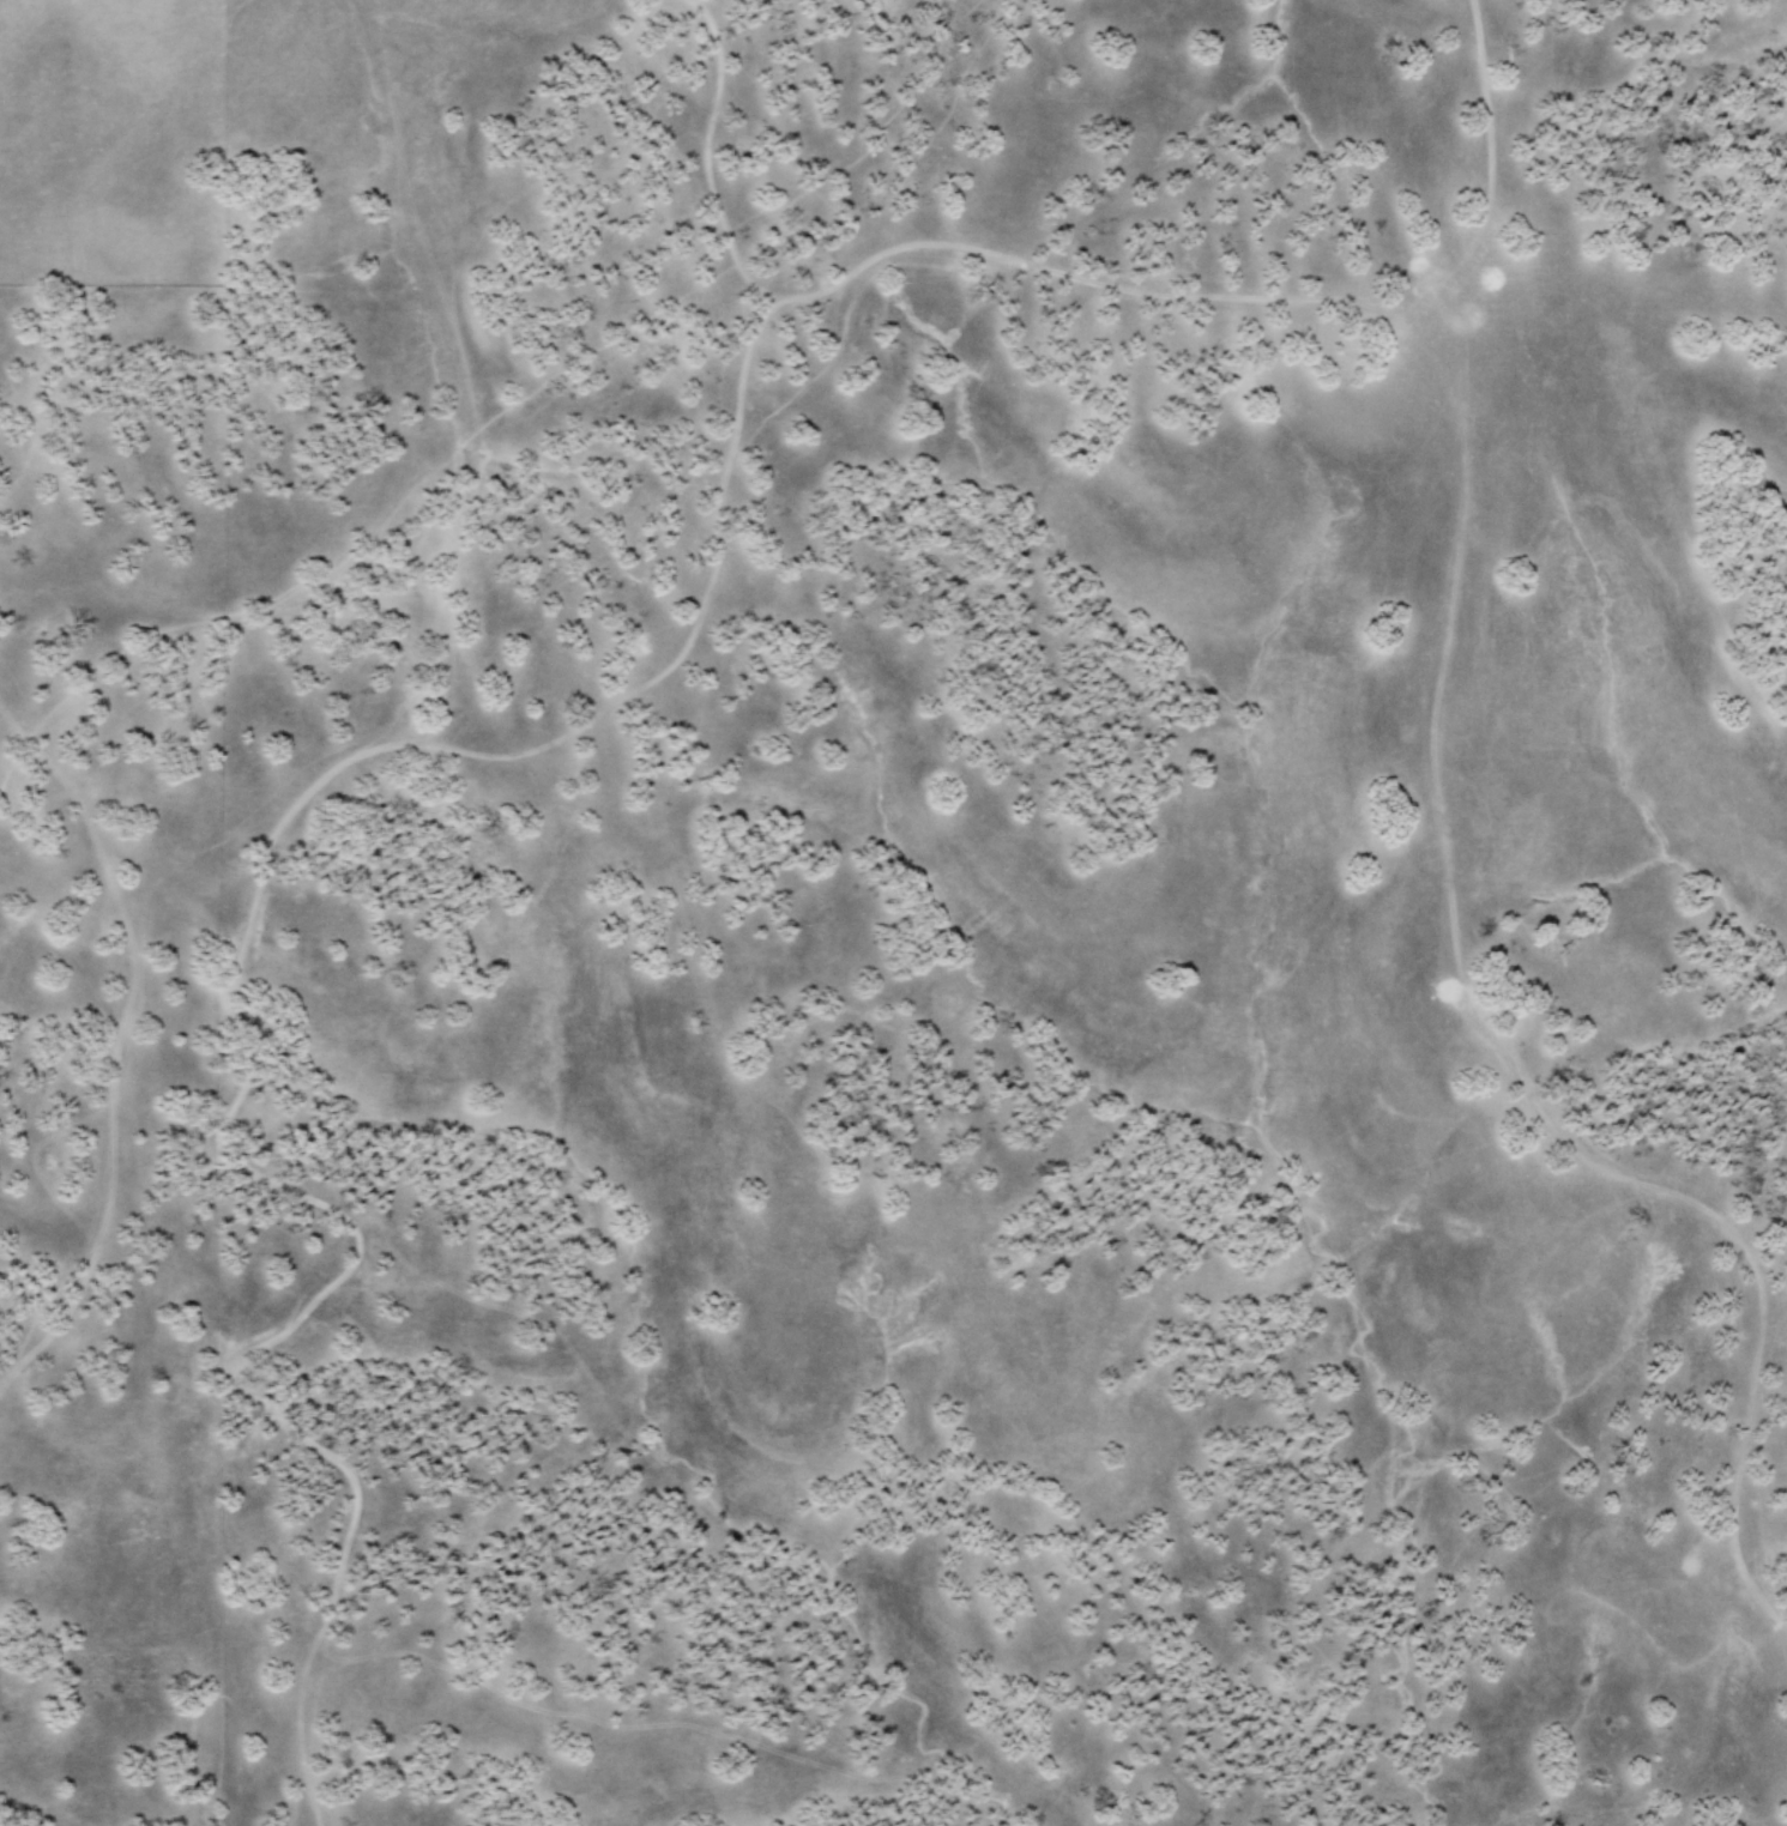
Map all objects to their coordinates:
road: (706, 149)
road: (1239, 297)
road: (774, 304)
road: (472, 404)
road: (219, 998)
road: (110, 1153)

